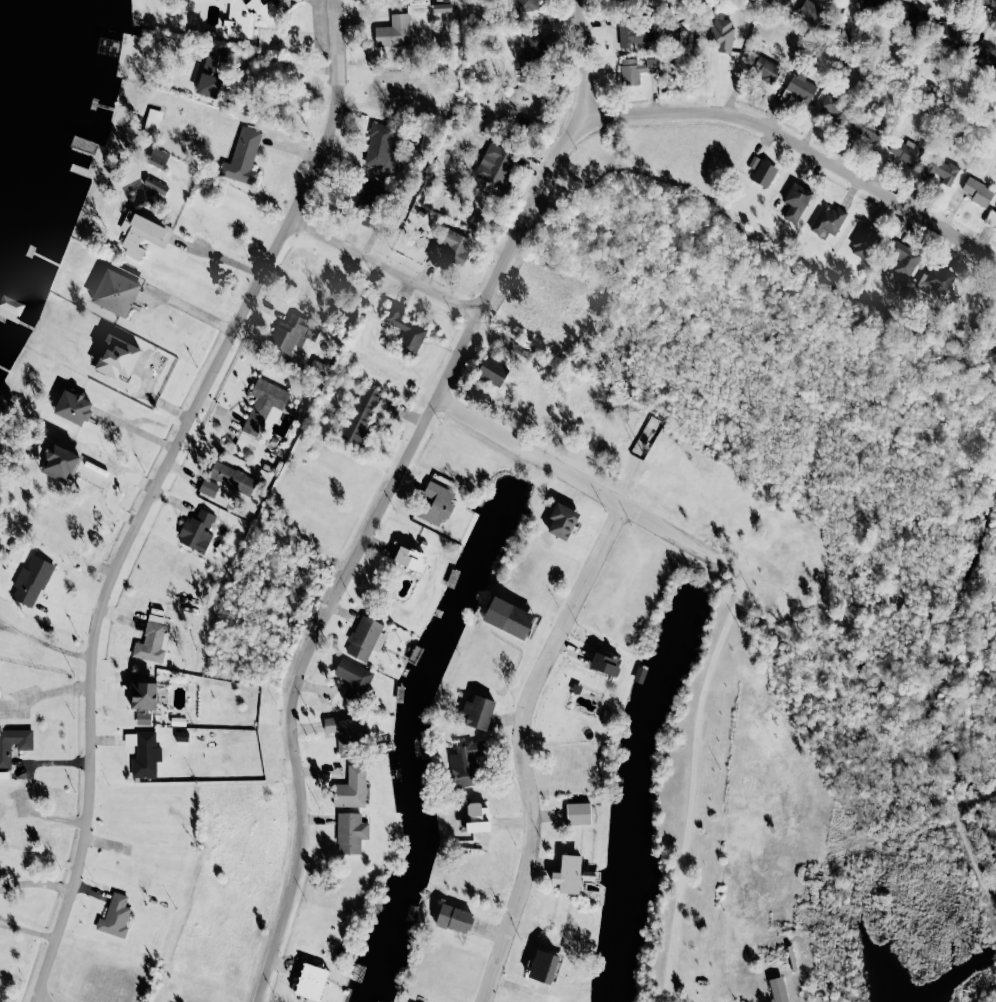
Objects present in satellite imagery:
building: (878, 2)
road: (992, 2)
building: (527, 5)
building: (914, 15)
building: (248, 16)
building: (394, 31)
building: (628, 32)
building: (721, 33)
building: (950, 34)
building: (531, 50)
building: (985, 57)
building: (762, 66)
building: (636, 69)
building: (211, 73)
building: (391, 84)
building: (801, 86)
building: (513, 94)
building: (834, 108)
building: (152, 120)
building: (869, 128)
building: (383, 146)
road: (802, 148)
building: (905, 151)
building: (242, 156)
building: (158, 157)
building: (493, 162)
building: (753, 162)
building: (941, 170)
building: (763, 173)
building: (156, 186)
building: (978, 192)
building: (368, 199)
building: (796, 201)
building: (828, 220)
building: (142, 234)
building: (864, 242)
building: (451, 247)
road: (220, 257)
building: (904, 260)
road: (383, 268)
building: (936, 279)
building: (116, 289)
road: (194, 311)
building: (404, 329)
building: (292, 333)
building: (117, 357)
building: (492, 371)
building: (263, 404)
building: (73, 407)
building: (362, 414)
building: (59, 463)
building: (232, 478)
road: (577, 478)
building: (208, 487)
road: (153, 490)
road: (390, 490)
building: (435, 503)
building: (562, 520)
building: (197, 531)
building: (409, 558)
building: (31, 581)
building: (508, 617)
building: (365, 638)
building: (152, 640)
building: (605, 663)
building: (354, 679)
building: (143, 695)
building: (478, 712)
building: (143, 718)
building: (346, 732)
building: (13, 744)
road: (520, 746)
building: (146, 755)
building: (466, 762)
road: (693, 769)
building: (351, 787)
road: (976, 797)
building: (578, 813)
building: (476, 817)
building: (350, 832)
road: (976, 868)
building: (567, 874)
road: (34, 882)
building: (115, 916)
building: (454, 918)
building: (543, 966)
building: (311, 981)
building: (778, 989)
road: (36, 1001)

